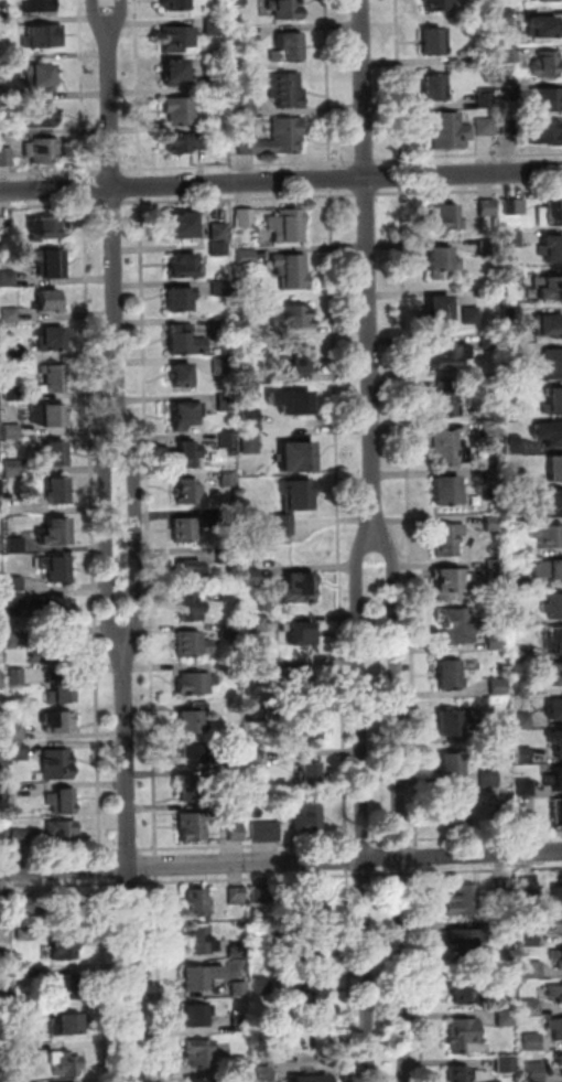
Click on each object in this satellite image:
building: (545, 0)
building: (238, 2)
building: (176, 4)
building: (436, 4)
building: (40, 6)
building: (284, 9)
road: (118, 13)
road: (96, 14)
building: (505, 17)
building: (6, 19)
building: (214, 25)
building: (543, 26)
building: (239, 35)
building: (44, 36)
building: (177, 39)
building: (435, 41)
building: (287, 47)
building: (482, 52)
building: (509, 54)
building: (545, 64)
building: (175, 71)
building: (45, 75)
building: (217, 83)
road: (399, 83)
road: (328, 84)
road: (138, 87)
building: (435, 87)
road: (83, 88)
building: (287, 89)
building: (6, 93)
building: (508, 93)
building: (485, 99)
building: (547, 99)
building: (246, 107)
building: (181, 111)
building: (43, 117)
building: (218, 122)
building: (510, 126)
building: (485, 127)
building: (6, 128)
building: (448, 130)
building: (545, 132)
building: (275, 139)
building: (185, 142)
building: (43, 150)
building: (6, 157)
road: (468, 157)
road: (366, 162)
road: (239, 165)
road: (112, 171)
road: (51, 173)
road: (401, 176)
road: (332, 179)
road: (280, 180)
road: (140, 185)
road: (85, 188)
road: (468, 190)
road: (366, 194)
road: (240, 199)
road: (112, 203)
road: (51, 205)
building: (515, 206)
building: (487, 207)
building: (550, 212)
building: (245, 217)
building: (446, 218)
building: (184, 224)
building: (284, 226)
building: (48, 227)
building: (218, 231)
road: (114, 236)
building: (512, 239)
building: (487, 247)
building: (551, 248)
building: (218, 249)
building: (245, 256)
building: (442, 260)
building: (51, 264)
building: (184, 264)
road: (368, 269)
building: (291, 270)
building: (512, 276)
building: (8, 278)
building: (237, 285)
building: (549, 287)
building: (221, 289)
building: (181, 298)
building: (48, 299)
building: (440, 310)
building: (293, 314)
building: (471, 314)
building: (10, 315)
building: (514, 317)
building: (223, 324)
building: (548, 325)
building: (247, 330)
building: (52, 339)
building: (488, 339)
building: (185, 341)
building: (516, 353)
building: (448, 354)
building: (10, 356)
building: (296, 357)
building: (551, 364)
building: (220, 366)
building: (183, 374)
building: (54, 378)
building: (515, 388)
building: (11, 393)
building: (291, 400)
building: (553, 400)
building: (225, 401)
building: (446, 404)
building: (50, 415)
building: (185, 415)
building: (250, 418)
building: (13, 431)
building: (549, 432)
building: (228, 440)
building: (250, 442)
building: (516, 446)
building: (448, 449)
building: (56, 452)
building: (186, 454)
building: (295, 456)
building: (14, 468)
building: (555, 468)
building: (518, 475)
building: (229, 478)
building: (494, 478)
building: (55, 488)
building: (188, 491)
building: (447, 491)
building: (554, 503)
building: (293, 505)
building: (228, 516)
road: (410, 517)
road: (338, 518)
building: (494, 523)
road: (149, 526)
road: (94, 527)
building: (185, 529)
building: (57, 532)
building: (549, 536)
building: (447, 539)
road: (136, 540)
building: (17, 546)
road: (109, 546)
building: (521, 551)
building: (225, 556)
building: (60, 568)
building: (548, 569)
building: (191, 571)
building: (497, 572)
building: (252, 577)
building: (452, 581)
building: (17, 583)
building: (520, 585)
building: (0, 586)
building: (301, 587)
building: (229, 594)
building: (17, 600)
building: (0, 603)
building: (554, 607)
building: (57, 608)
building: (190, 608)
building: (522, 618)
building: (258, 624)
building: (458, 625)
building: (230, 631)
building: (302, 633)
building: (17, 639)
building: (553, 639)
building: (0, 642)
building: (497, 642)
building: (194, 644)
building: (51, 650)
building: (522, 654)
building: (229, 667)
building: (253, 667)
building: (555, 673)
building: (451, 674)
building: (17, 676)
building: (1, 679)
building: (300, 679)
building: (197, 684)
building: (499, 686)
building: (62, 688)
building: (523, 688)
building: (555, 709)
building: (256, 715)
building: (2, 716)
building: (60, 721)
building: (523, 721)
building: (191, 722)
building: (452, 722)
building: (304, 728)
building: (18, 730)
building: (500, 733)
building: (556, 741)
building: (20, 752)
building: (197, 753)
building: (525, 756)
building: (3, 758)
building: (258, 759)
building: (58, 764)
building: (452, 765)
building: (233, 767)
building: (312, 775)
building: (489, 779)
building: (558, 779)
building: (526, 788)
building: (193, 791)
building: (2, 792)
building: (236, 799)
building: (64, 801)
road: (366, 807)
road: (400, 807)
building: (457, 810)
building: (558, 813)
building: (310, 816)
building: (527, 822)
building: (501, 823)
building: (194, 826)
building: (61, 832)
building: (237, 832)
building: (267, 832)
building: (4, 836)
road: (485, 836)
building: (22, 837)
road: (382, 840)
road: (401, 840)
road: (365, 843)
road: (249, 846)
road: (129, 850)
road: (60, 853)
road: (419, 856)
road: (130, 857)
road: (347, 858)
road: (281, 861)
road: (158, 866)
road: (102, 867)
road: (485, 870)
road: (401, 874)
road: (365, 875)
road: (383, 875)
road: (249, 879)
road: (131, 883)
road: (61, 886)
building: (528, 887)
building: (505, 888)
building: (262, 894)
building: (237, 896)
building: (558, 896)
building: (463, 901)
building: (198, 903)
building: (310, 903)
building: (4, 904)
building: (25, 906)
building: (61, 909)
building: (552, 923)
building: (507, 928)
building: (25, 934)
building: (263, 938)
building: (202, 940)
building: (462, 940)
building: (530, 940)
building: (66, 946)
building: (312, 947)
building: (238, 952)
building: (4, 956)
building: (558, 957)
building: (533, 971)
building: (28, 972)
road: (422, 973)
building: (507, 973)
road: (350, 975)
building: (203, 977)
road: (160, 978)
road: (105, 979)
building: (68, 986)
building: (263, 986)
building: (241, 988)
building: (465, 989)
building: (7, 992)
building: (555, 992)
building: (313, 996)
building: (532, 1009)
building: (30, 1011)
building: (198, 1016)
building: (507, 1018)
building: (240, 1022)
building: (69, 1025)
building: (555, 1028)
building: (465, 1036)
building: (272, 1040)
building: (533, 1042)
building: (28, 1050)
building: (201, 1054)
building: (560, 1061)
building: (66, 1064)
building: (240, 1064)
building: (507, 1065)
building: (536, 1068)
building: (6, 1074)
building: (264, 1074)
building: (467, 1075)
building: (250, 1078)
building: (313, 1079)
building: (198, 1080)

